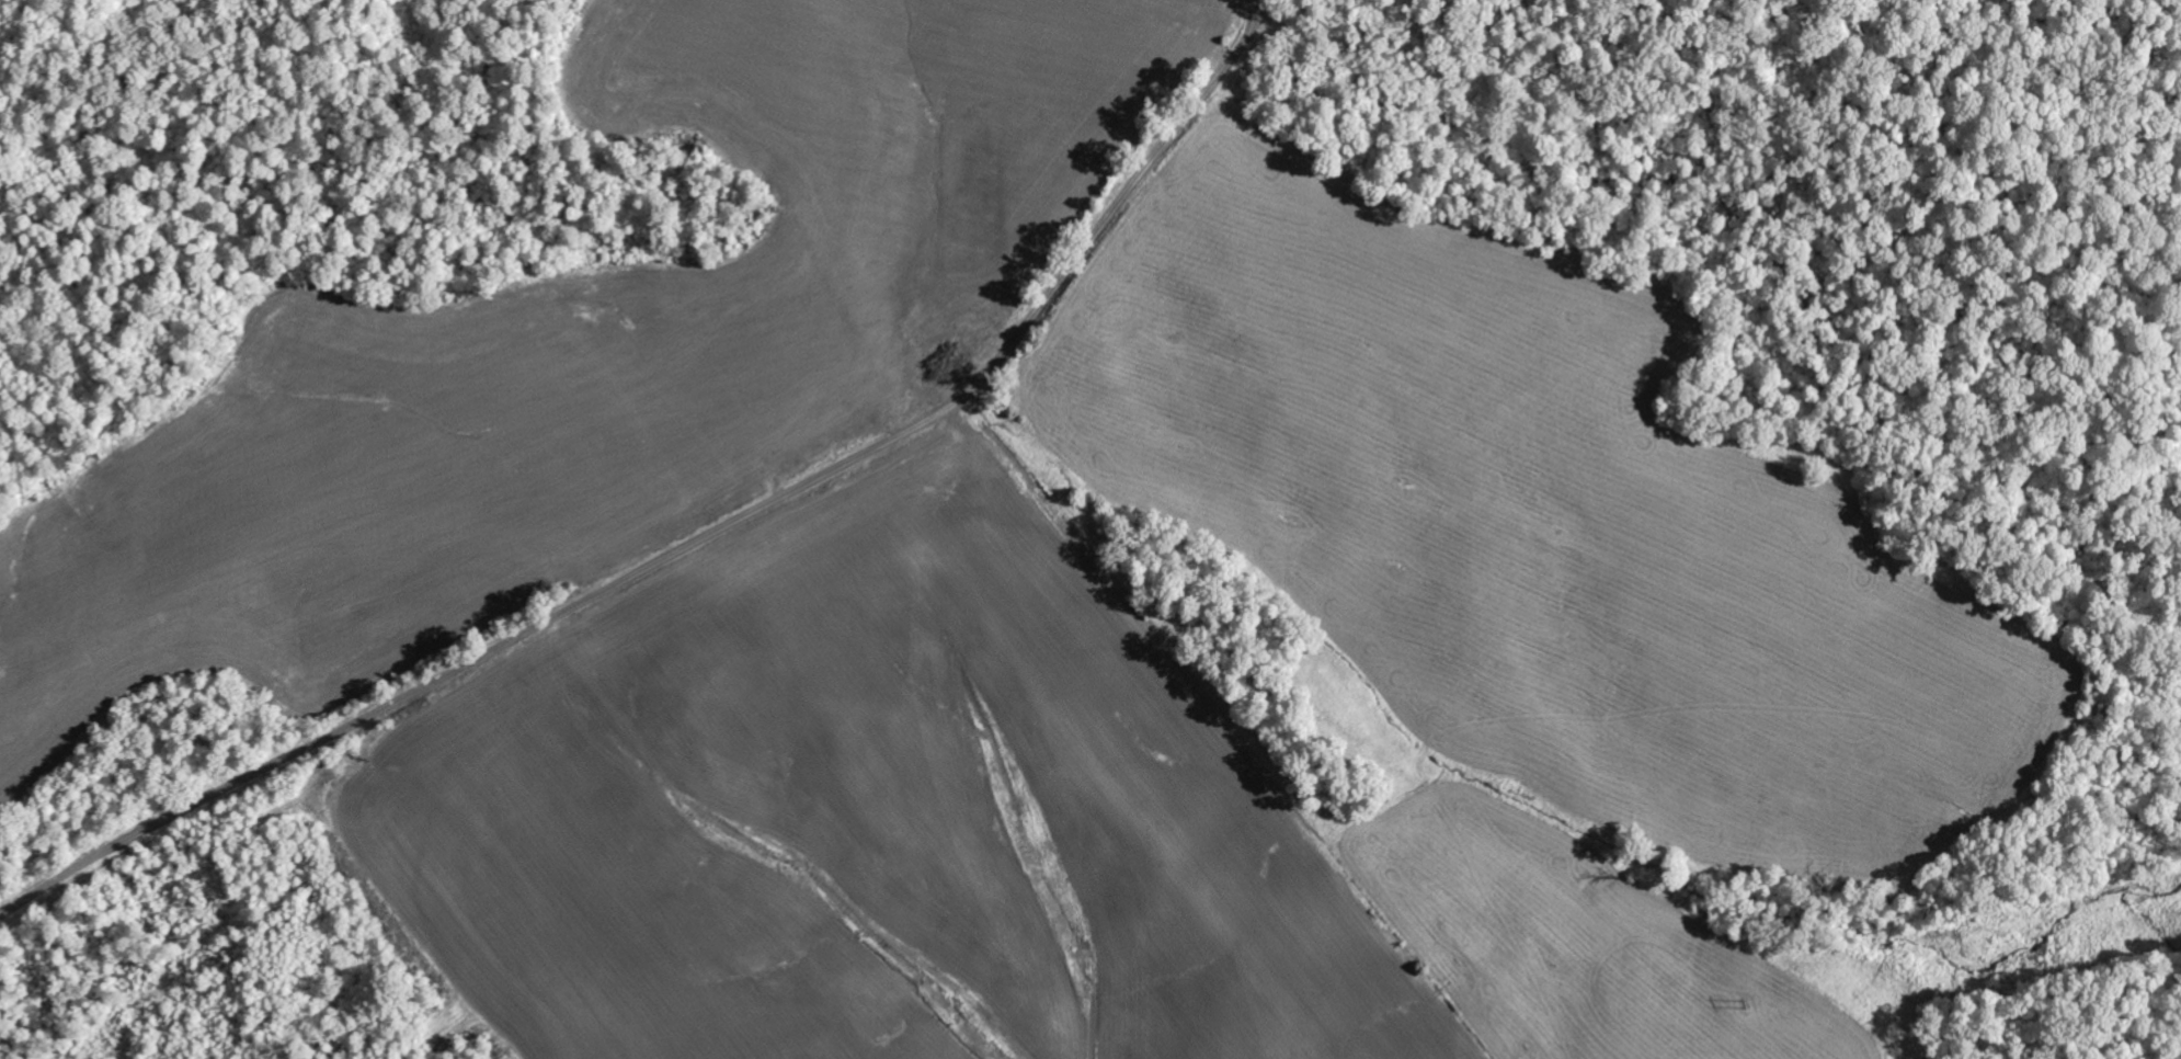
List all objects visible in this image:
road: (700, 539)

